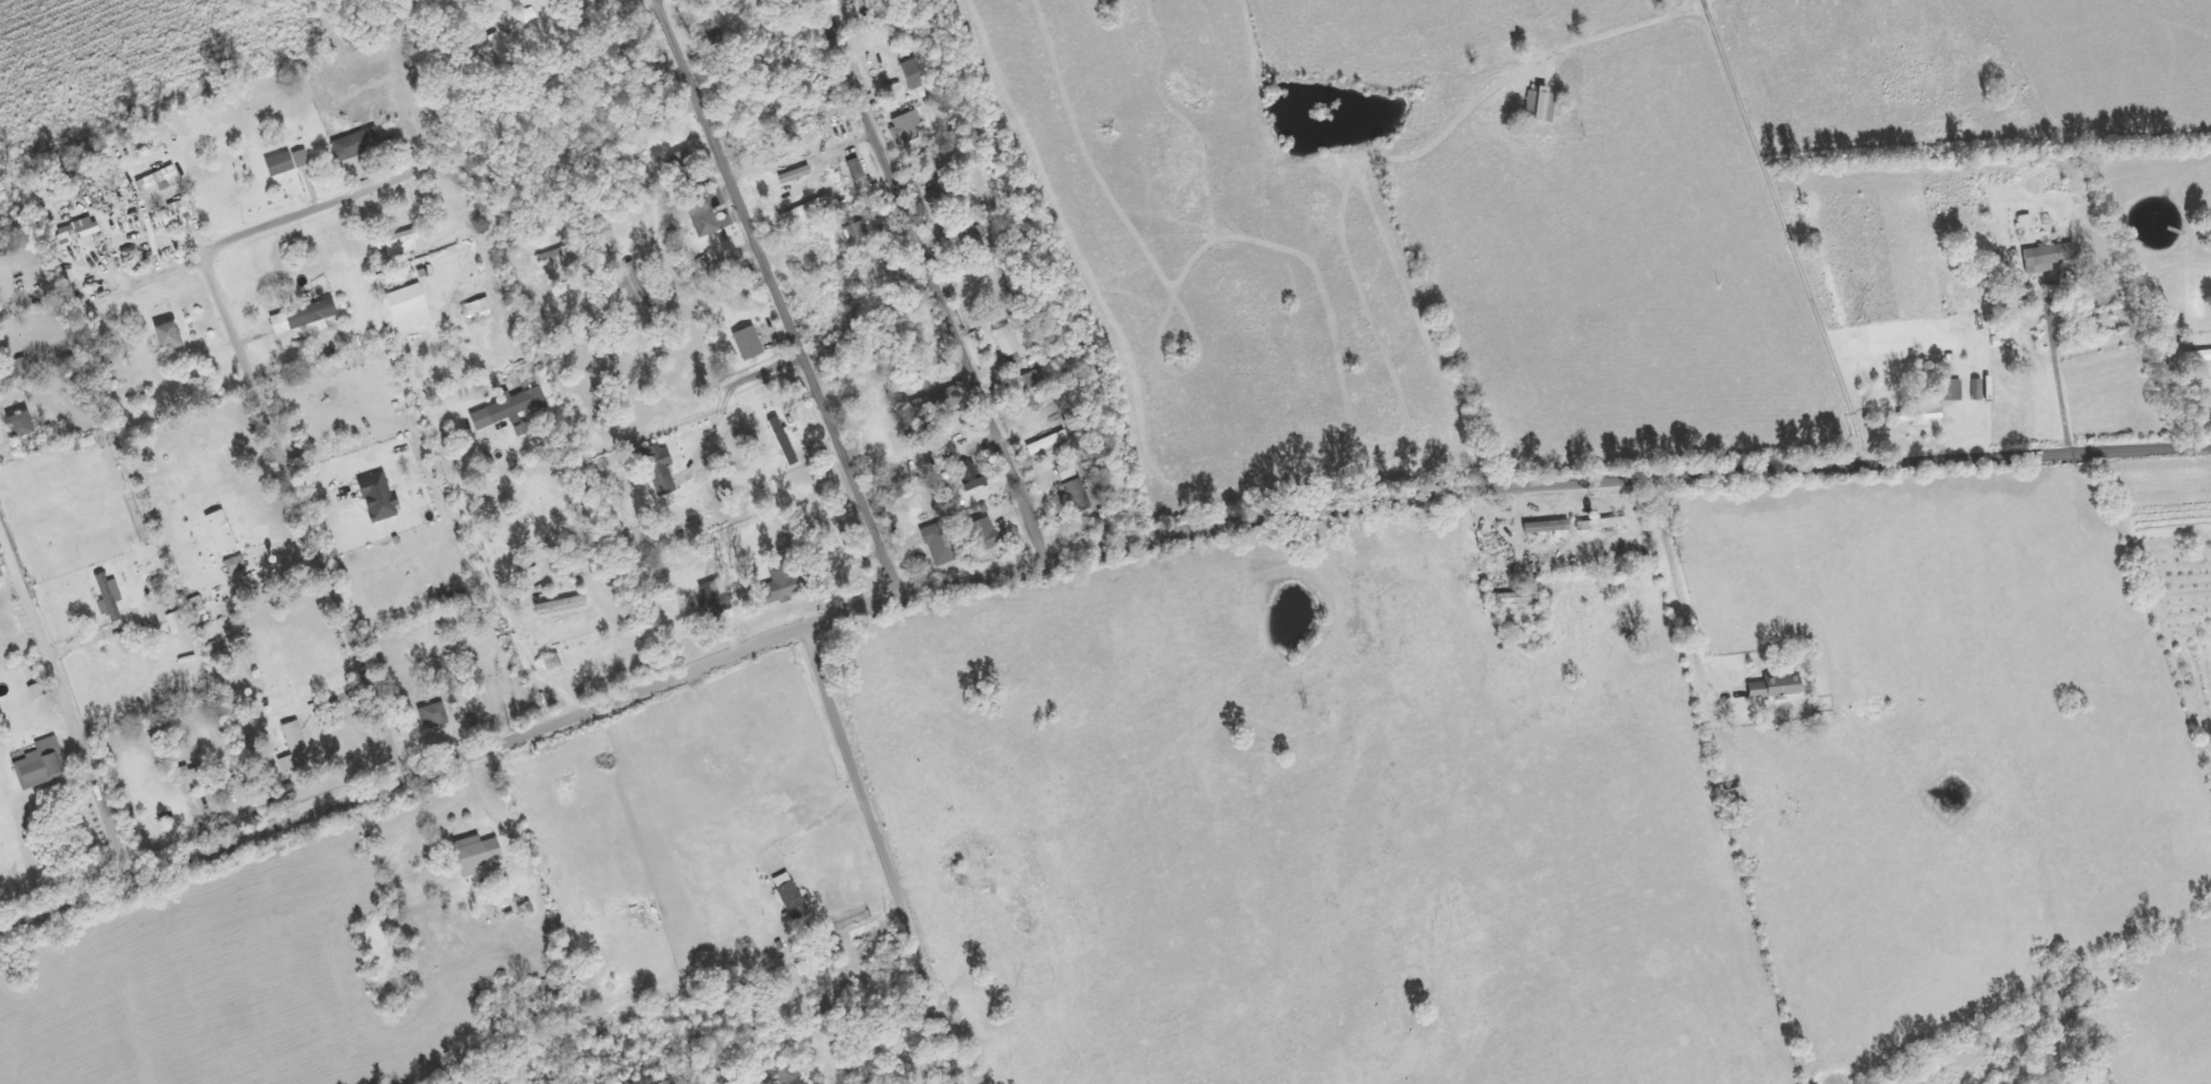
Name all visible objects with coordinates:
building: (913, 75)
building: (1540, 106)
building: (644, 122)
building: (907, 126)
building: (357, 144)
building: (286, 162)
building: (856, 169)
building: (156, 178)
building: (705, 210)
building: (180, 211)
building: (796, 214)
building: (856, 233)
building: (75, 235)
building: (2049, 258)
road: (931, 278)
building: (630, 281)
road: (775, 298)
building: (406, 310)
building: (305, 318)
building: (168, 335)
building: (1007, 341)
building: (748, 344)
building: (2197, 356)
building: (1031, 389)
building: (1953, 391)
building: (514, 399)
road: (259, 407)
building: (1923, 414)
building: (20, 426)
building: (784, 441)
building: (1047, 443)
building: (948, 465)
building: (659, 469)
building: (971, 477)
building: (1076, 496)
building: (378, 497)
building: (1616, 522)
building: (1547, 527)
building: (221, 532)
building: (984, 534)
building: (942, 545)
road: (1076, 551)
building: (236, 565)
building: (784, 587)
building: (109, 598)
building: (1518, 599)
building: (715, 600)
building: (175, 624)
building: (552, 663)
building: (1774, 688)
building: (317, 709)
road: (64, 710)
building: (433, 716)
building: (293, 749)
building: (42, 762)
building: (187, 779)
building: (1735, 800)
building: (479, 854)
road: (883, 857)

